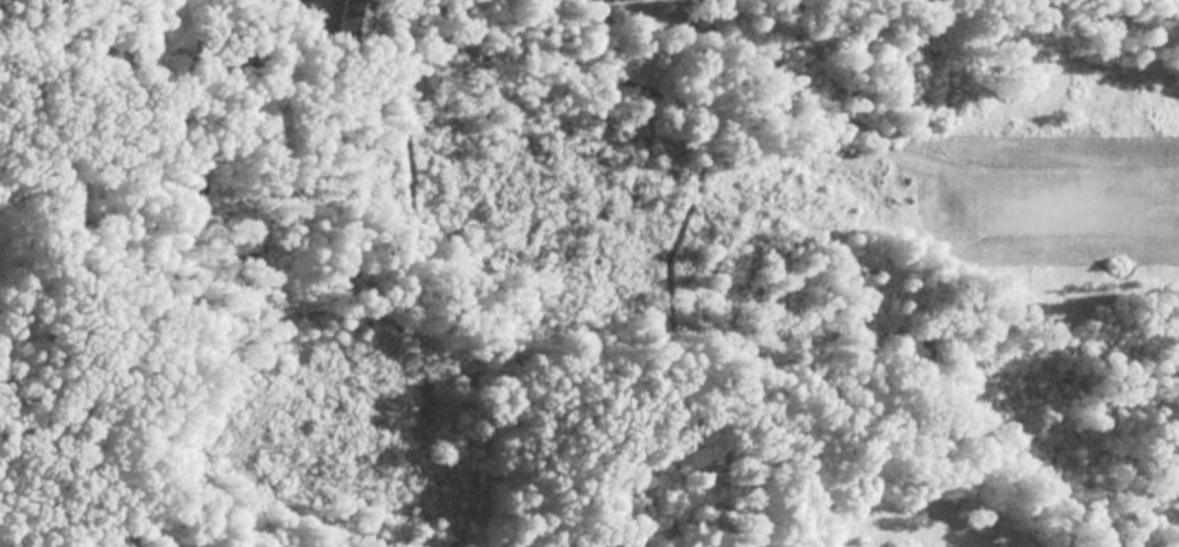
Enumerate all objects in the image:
building: (357, 22)

